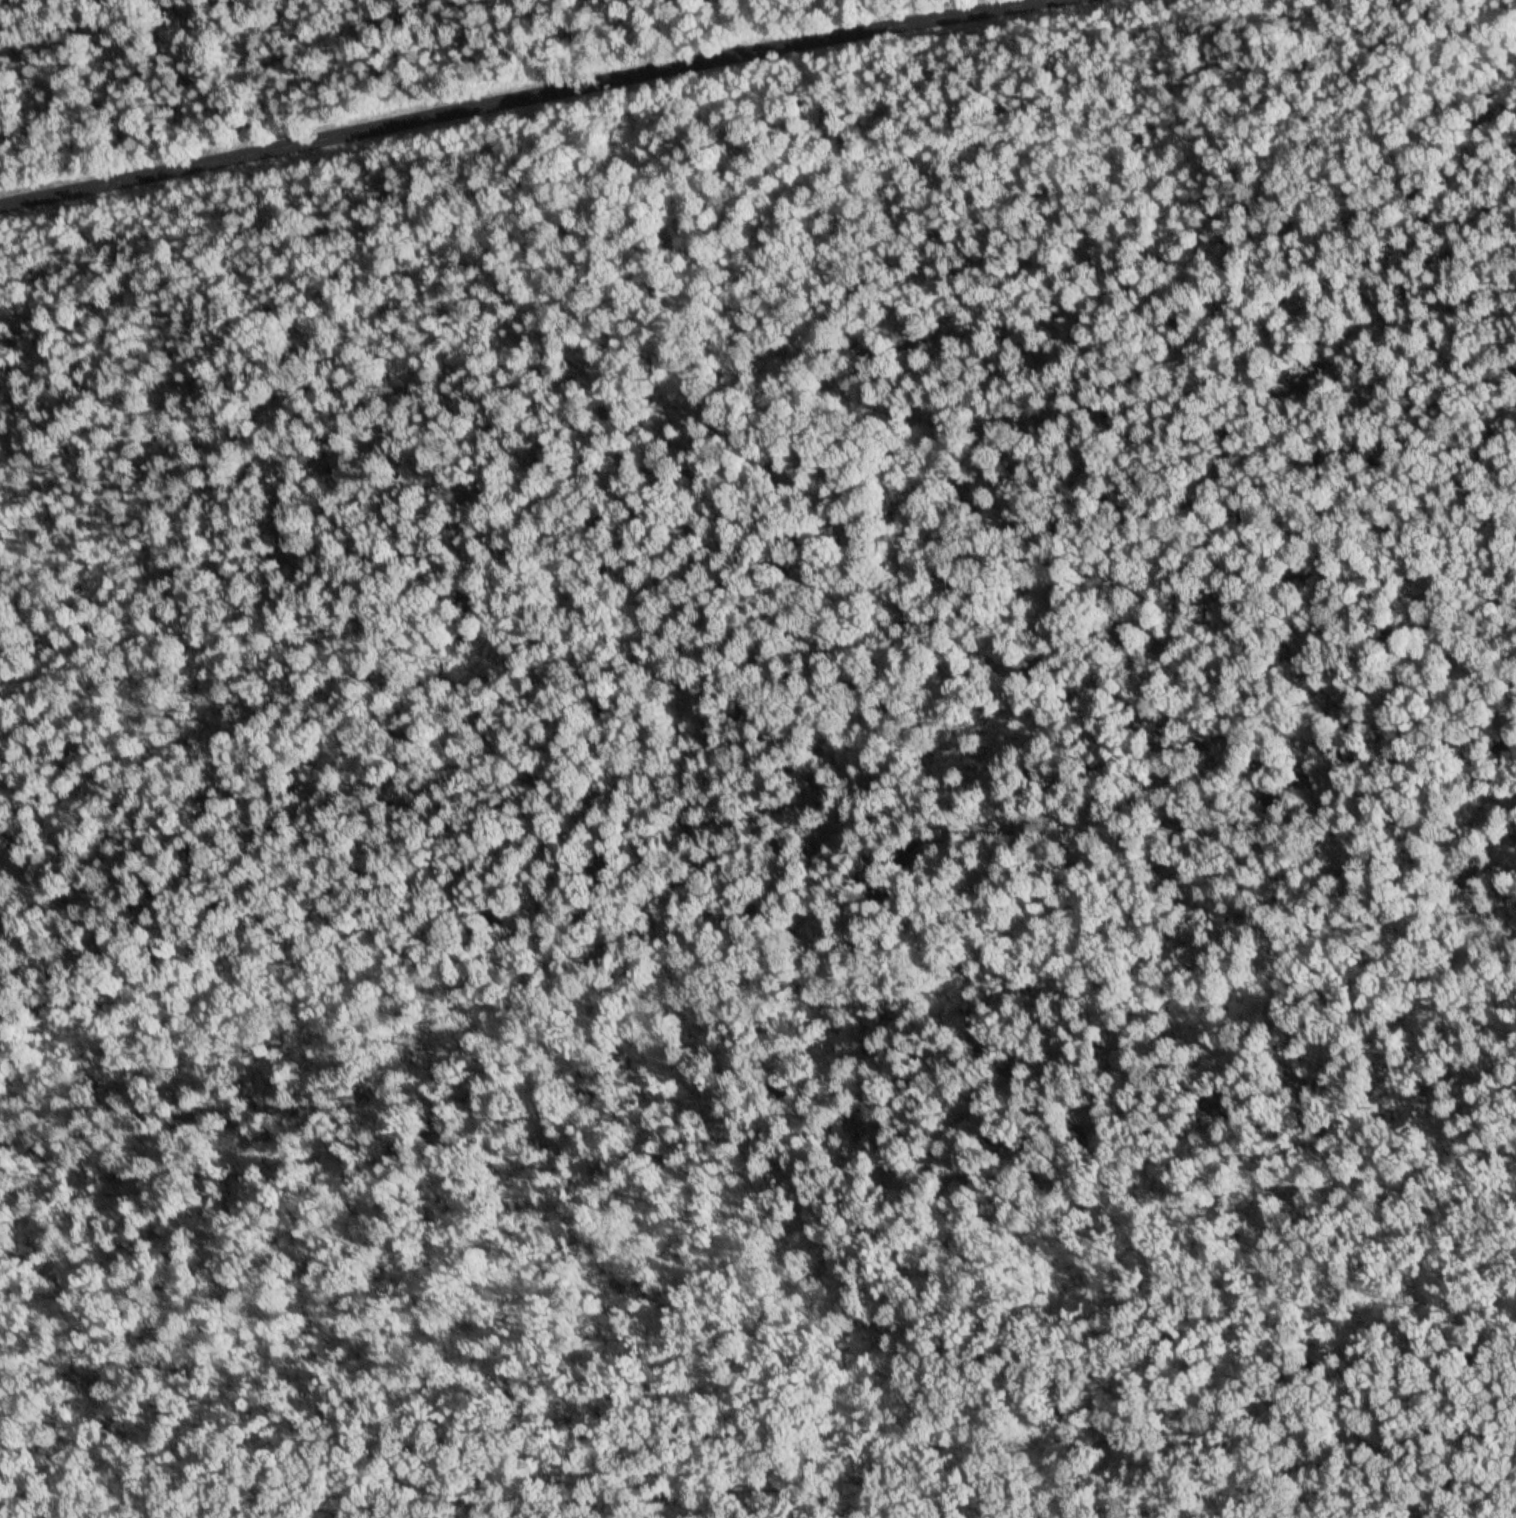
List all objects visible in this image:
road: (541, 106)
road: (684, 1001)

